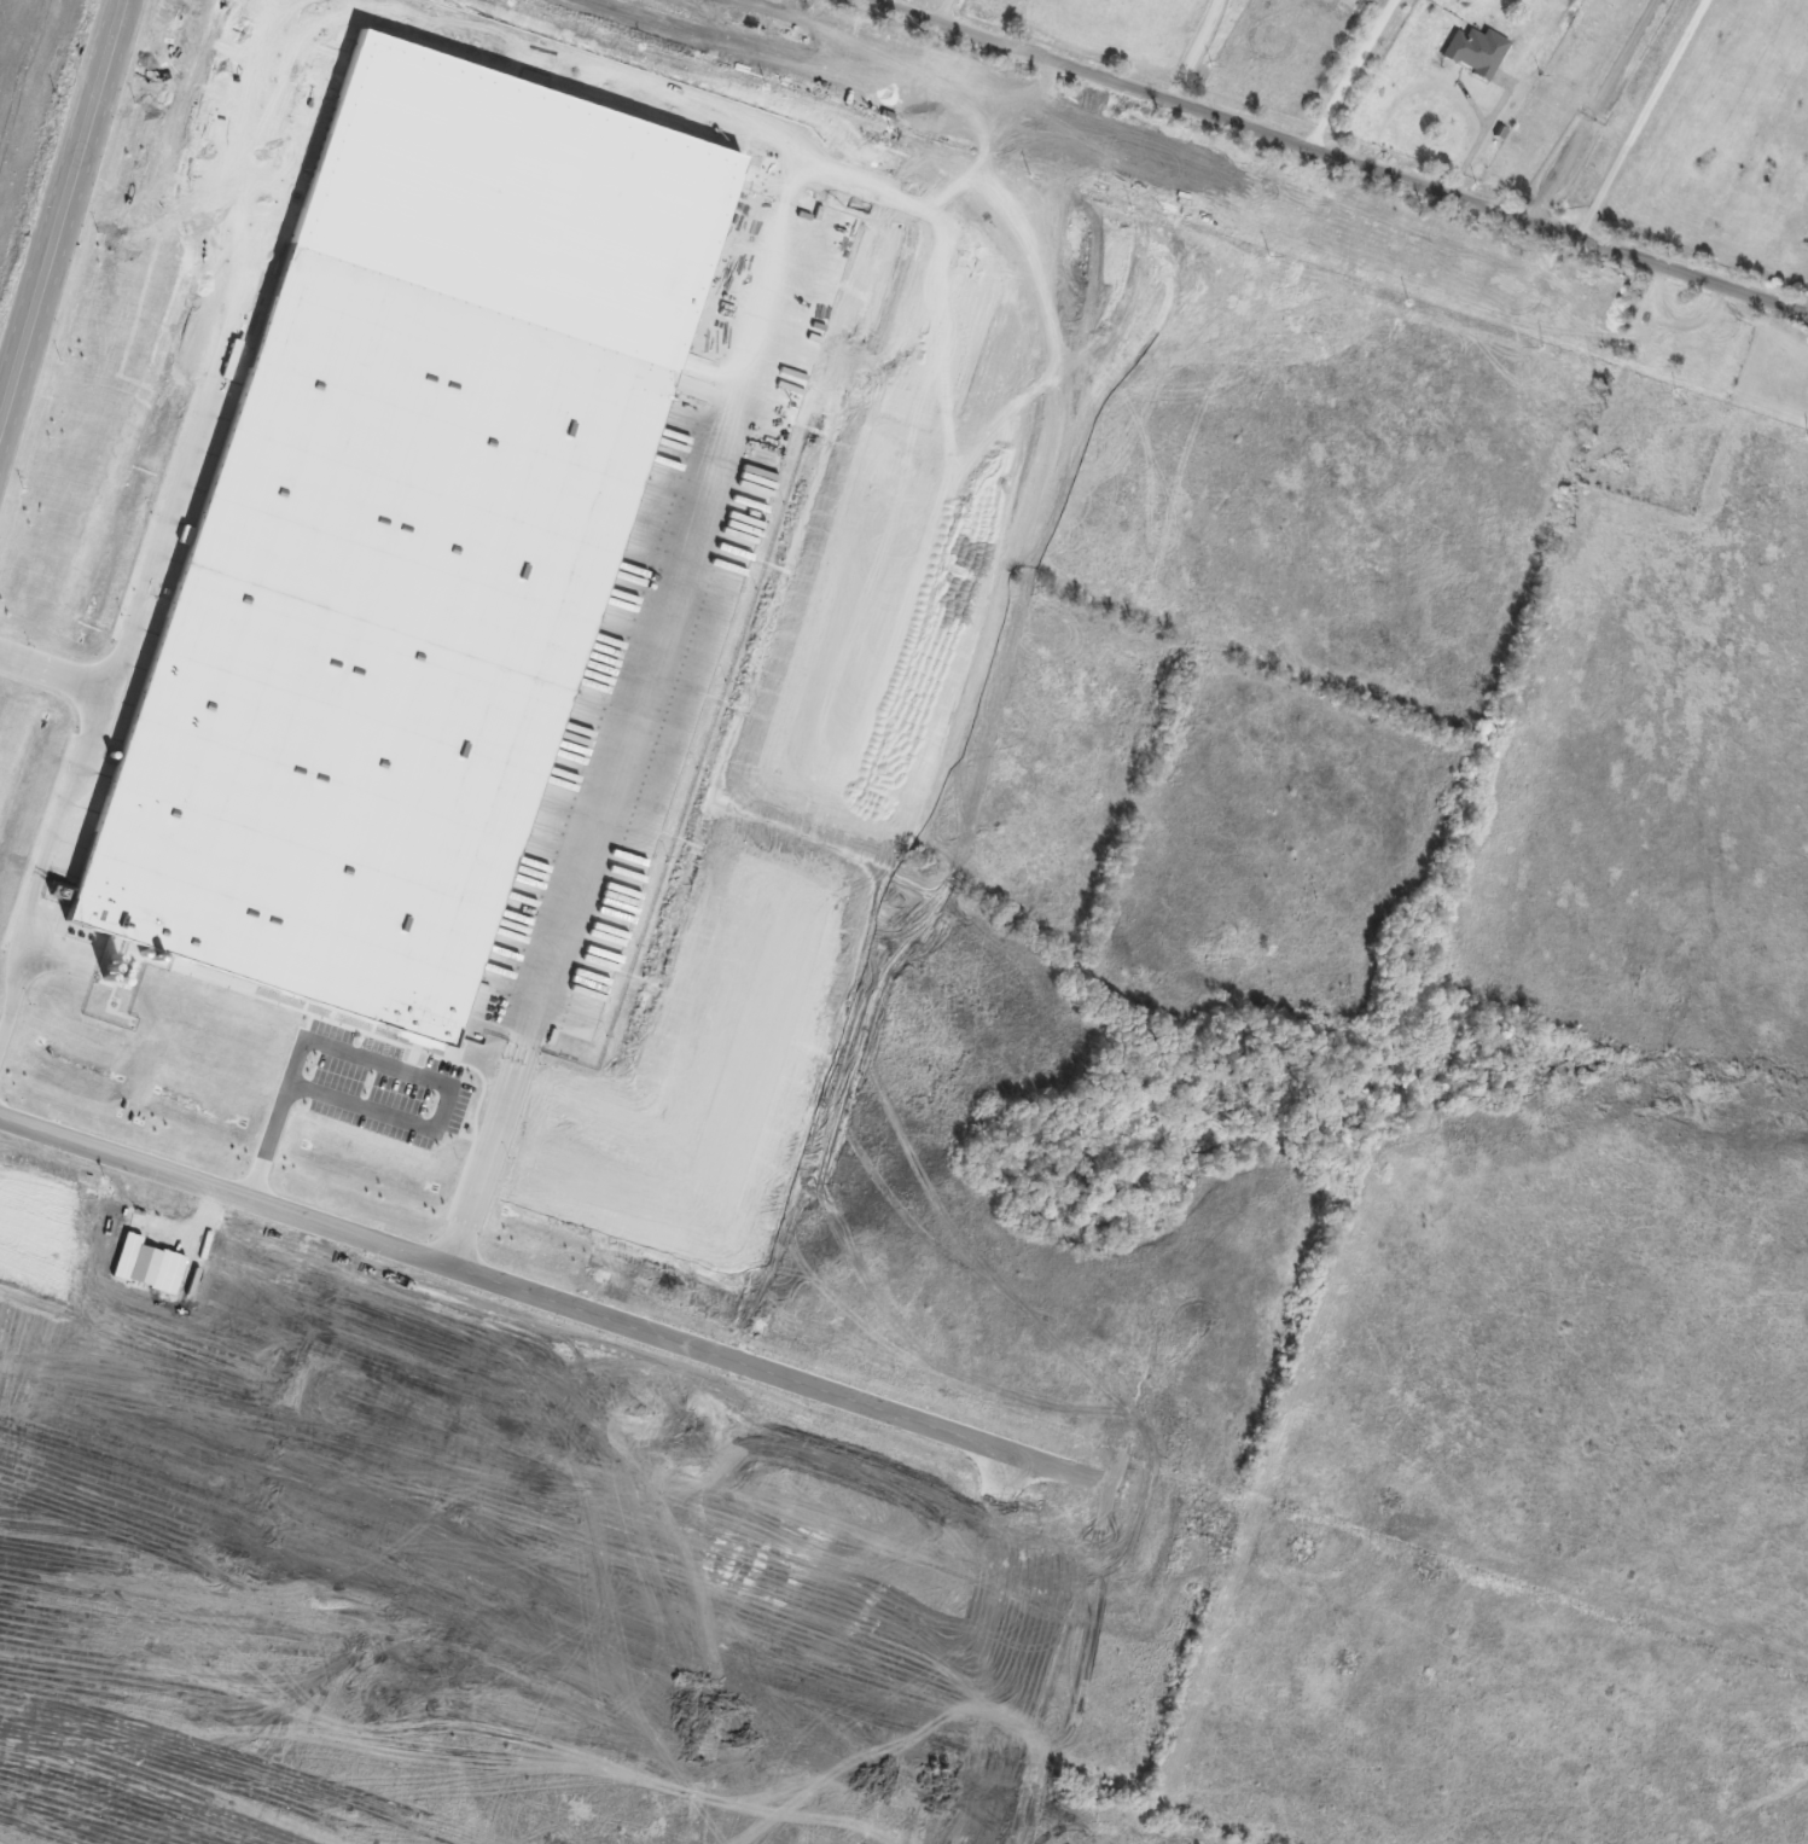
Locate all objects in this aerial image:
road: (893, 4)
road: (943, 11)
building: (1477, 51)
road: (1210, 53)
road: (1347, 75)
road: (1593, 112)
road: (1638, 117)
road: (1338, 159)
road: (59, 206)
road: (682, 574)
road: (63, 816)
road: (390, 1064)
road: (775, 1374)

